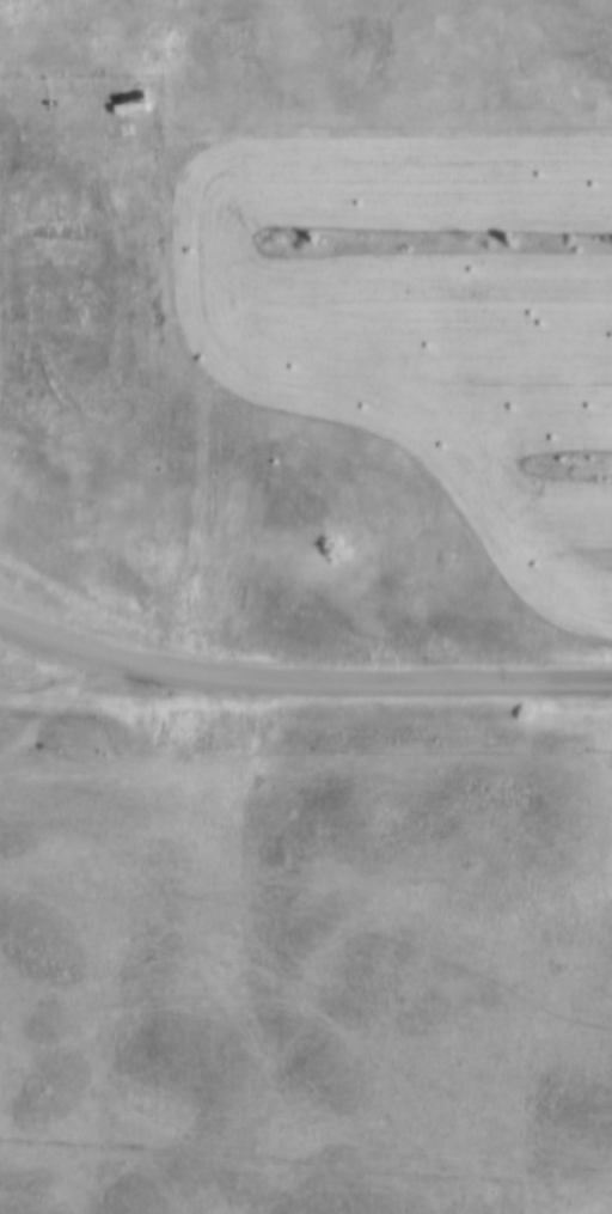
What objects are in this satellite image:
road: (300, 684)

